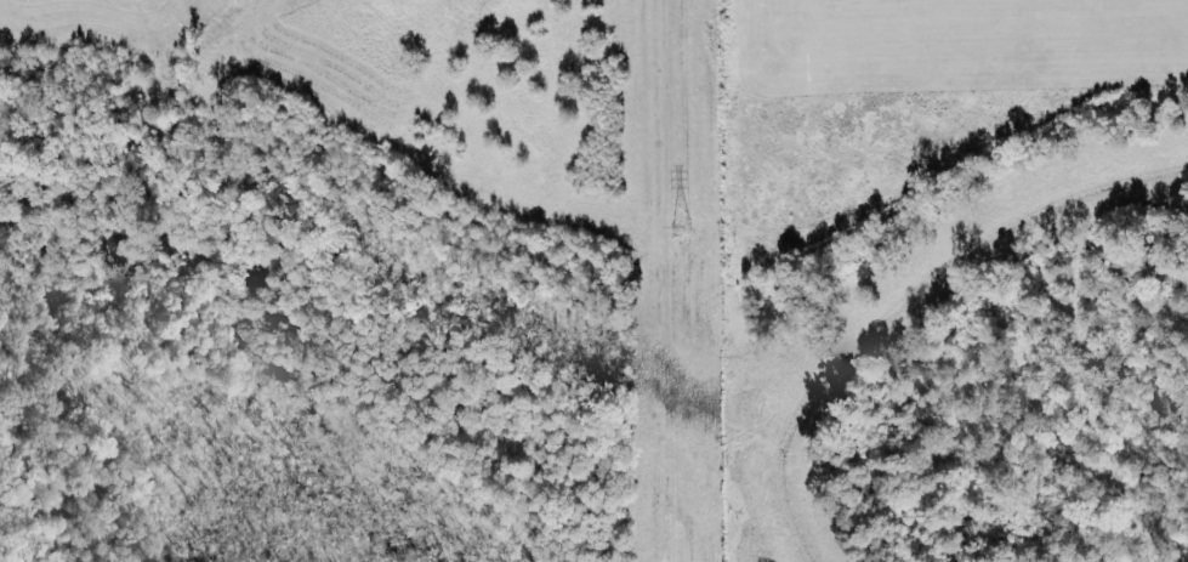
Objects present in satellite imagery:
power tower: (677, 225)

